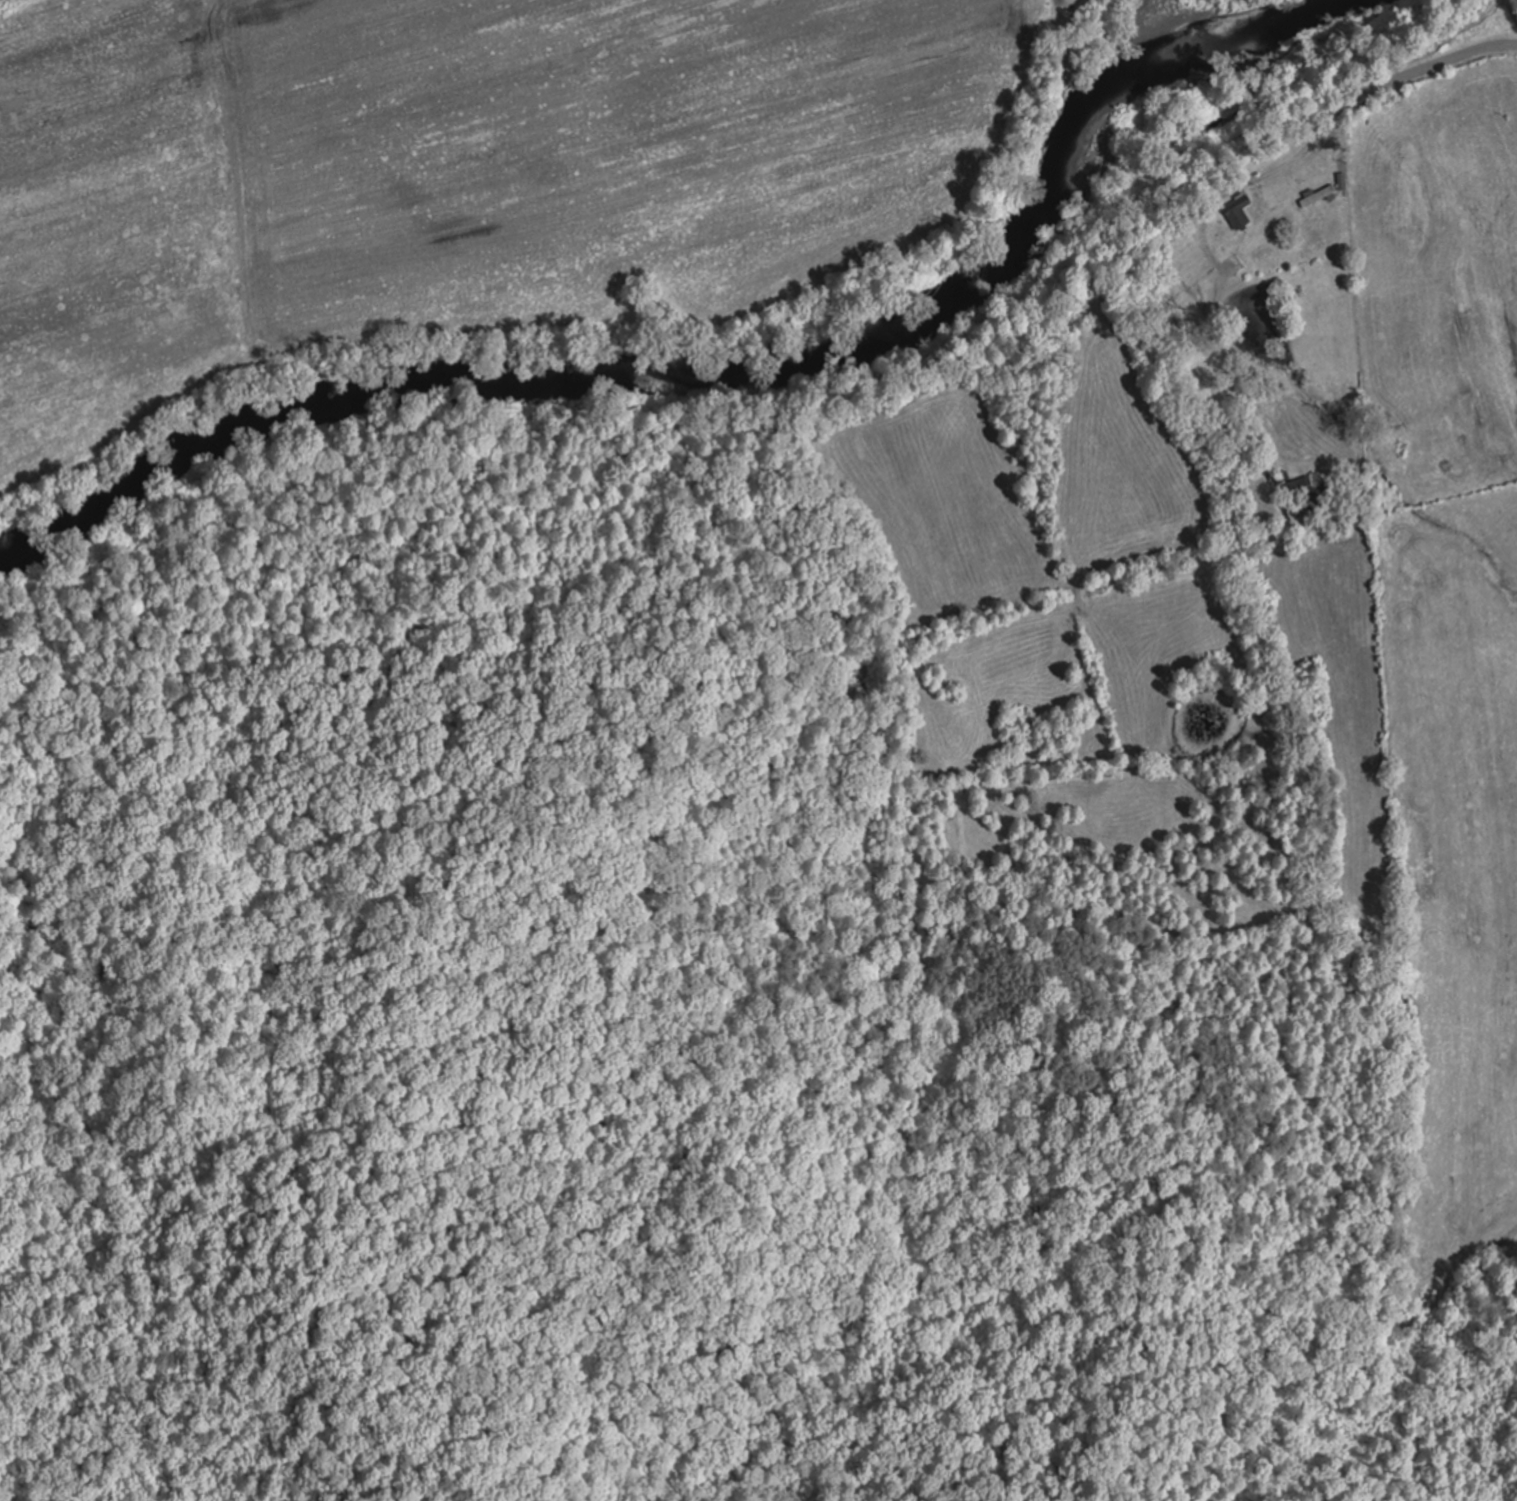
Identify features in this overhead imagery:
road: (1419, 75)
building: (1317, 195)
building: (1237, 211)
river: (716, 363)
building: (1301, 495)

